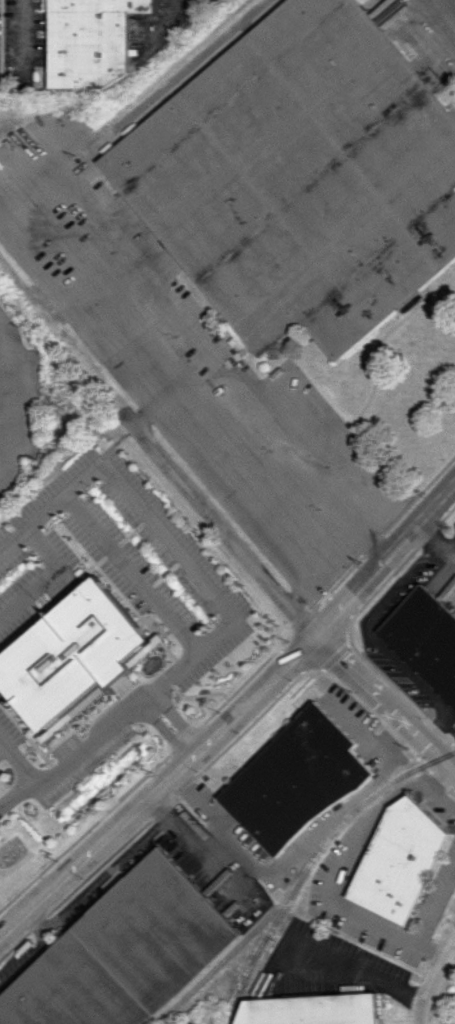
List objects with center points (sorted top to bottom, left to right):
road: (437, 18)
road: (22, 36)
building: (89, 41)
road: (165, 81)
building: (298, 177)
road: (191, 310)
road: (14, 393)
road: (185, 427)
road: (146, 512)
road: (225, 515)
road: (15, 536)
road: (439, 538)
road: (385, 543)
road: (452, 543)
road: (43, 554)
road: (388, 561)
road: (313, 594)
building: (425, 638)
road: (370, 644)
building: (71, 657)
road: (387, 700)
road: (71, 754)
building: (294, 780)
road: (13, 788)
road: (159, 788)
road: (158, 807)
road: (198, 848)
road: (299, 850)
road: (352, 854)
railway: (312, 860)
building: (400, 861)
road: (104, 875)
road: (438, 907)
road: (35, 924)
road: (433, 949)
building: (123, 953)
road: (24, 963)
road: (350, 963)
railway: (214, 968)
road: (434, 979)
building: (310, 1009)

